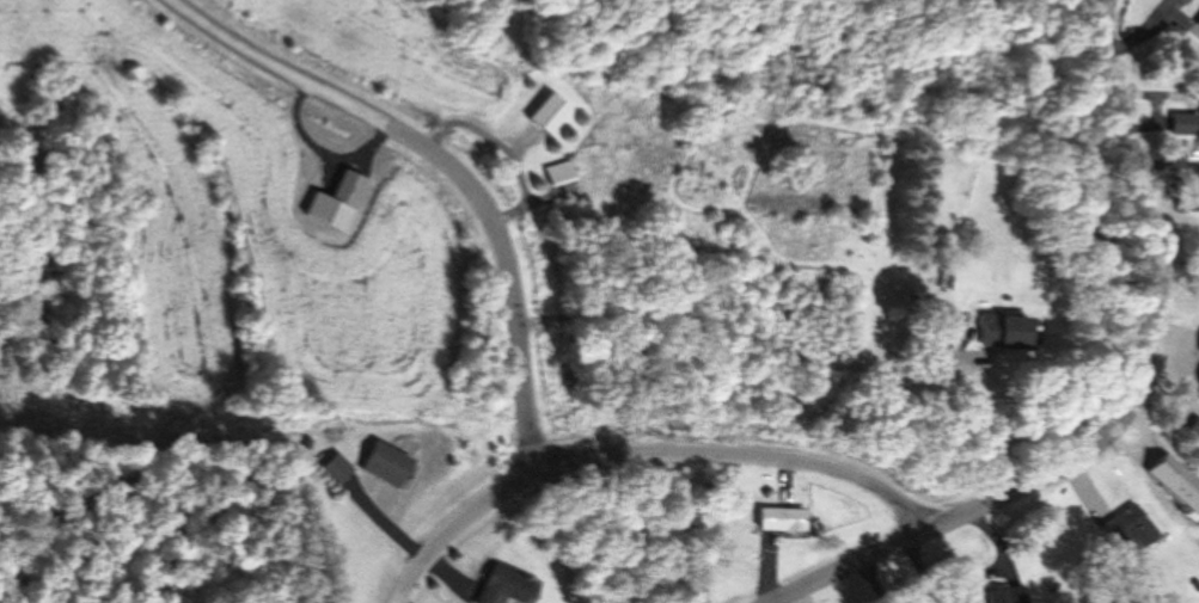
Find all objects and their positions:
building: (1185, 1)
building: (1197, 23)
building: (546, 112)
road: (452, 165)
building: (559, 172)
building: (336, 201)
building: (1001, 330)
road: (746, 339)
road: (1132, 407)
road: (647, 455)
building: (1177, 482)
building: (782, 518)
building: (1127, 527)
building: (504, 586)
building: (1008, 595)

